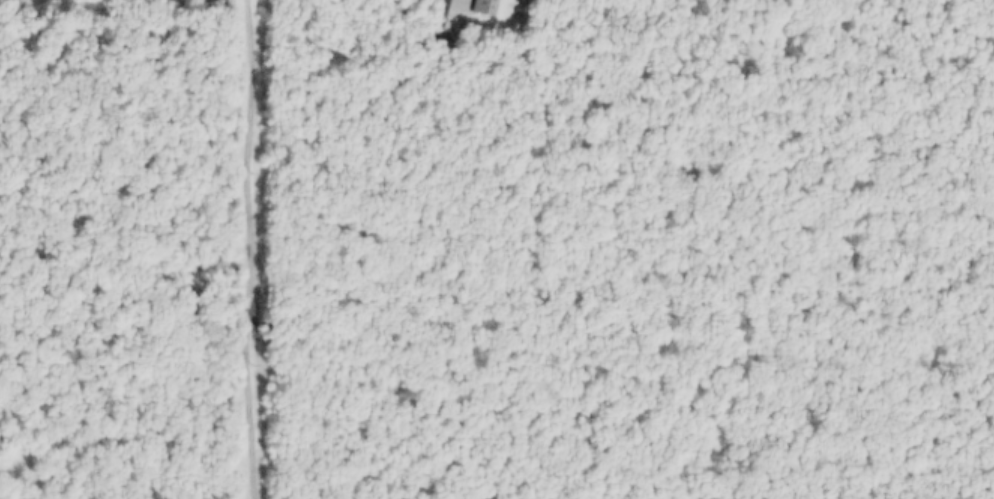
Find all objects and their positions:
building: (489, 7)
road: (451, 8)
road: (266, 249)

